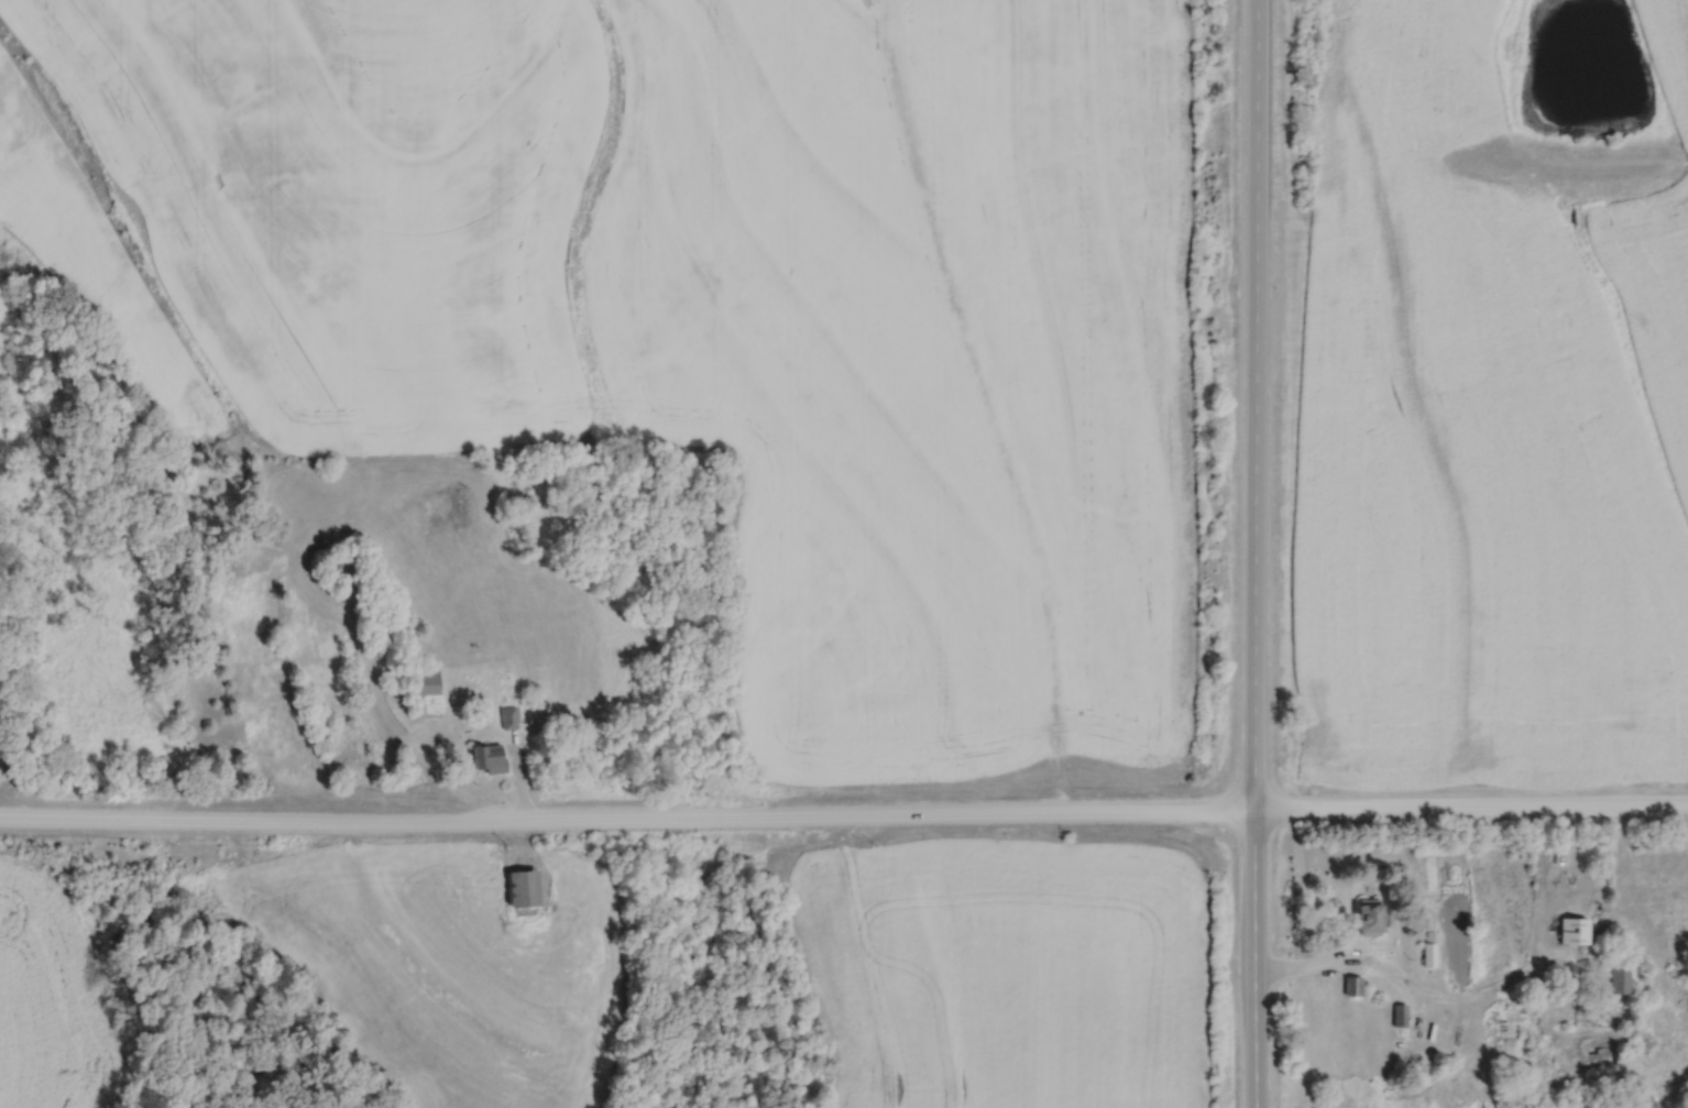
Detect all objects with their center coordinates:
dam: (1564, 162)
road: (1252, 553)
building: (427, 680)
building: (511, 716)
building: (487, 757)
road: (843, 820)
building: (523, 887)
building: (1370, 917)
building: (1575, 930)
building: (1429, 954)
road: (1394, 976)
building: (1621, 980)
building: (1353, 986)
building: (1400, 1014)
building: (1515, 1025)

